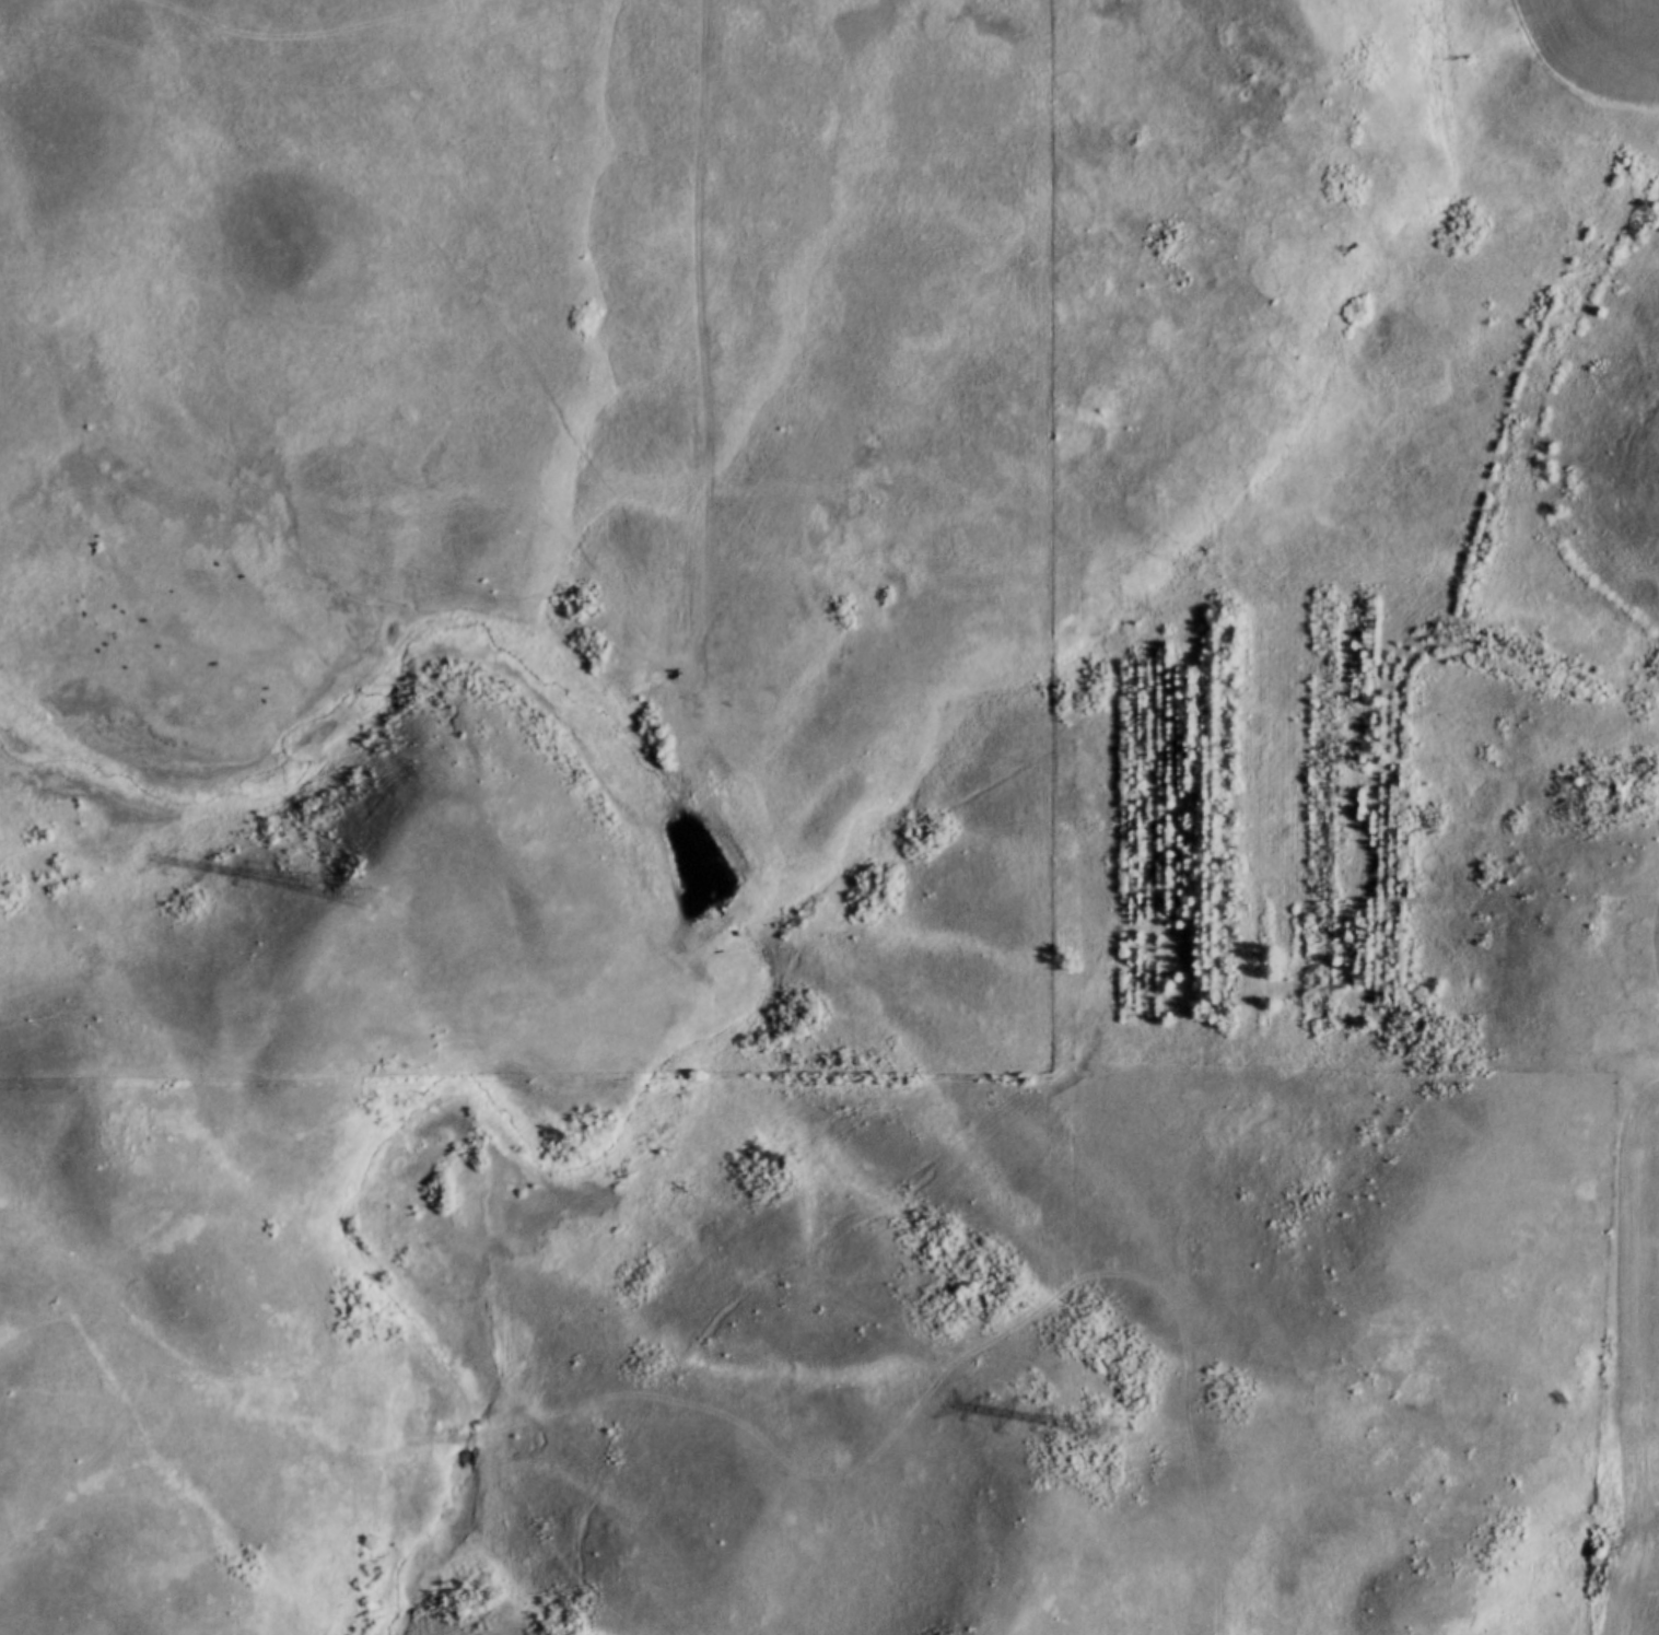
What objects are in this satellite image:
road: (700, 300)
power tower: (374, 901)
power tower: (1122, 1437)

